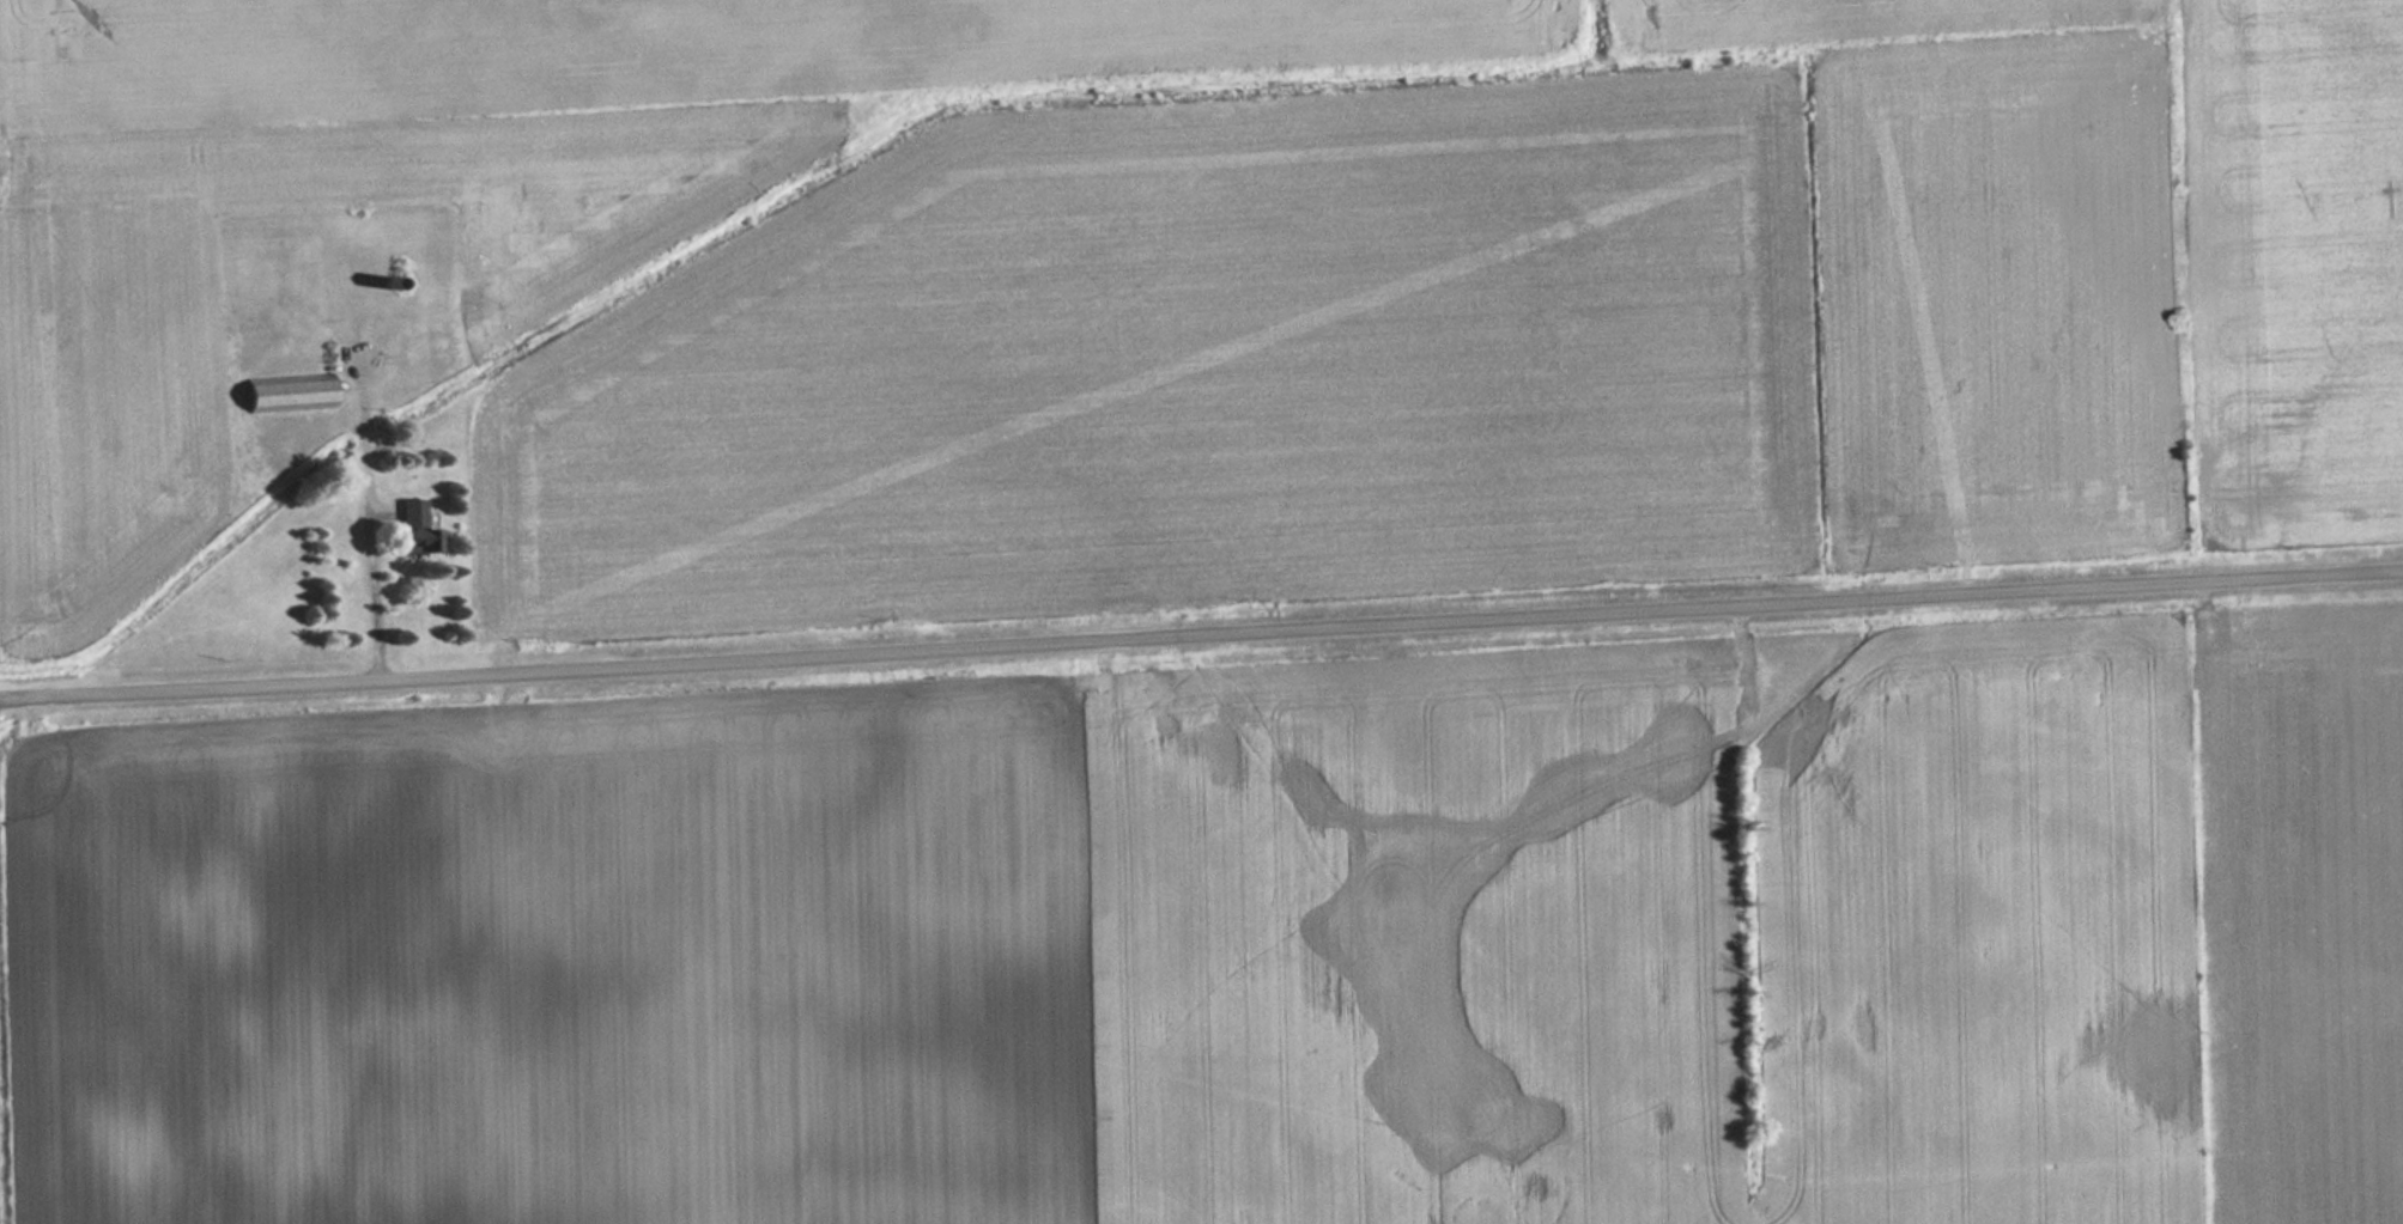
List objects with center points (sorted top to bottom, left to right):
building: (292, 394)
building: (418, 530)
road: (1201, 635)

